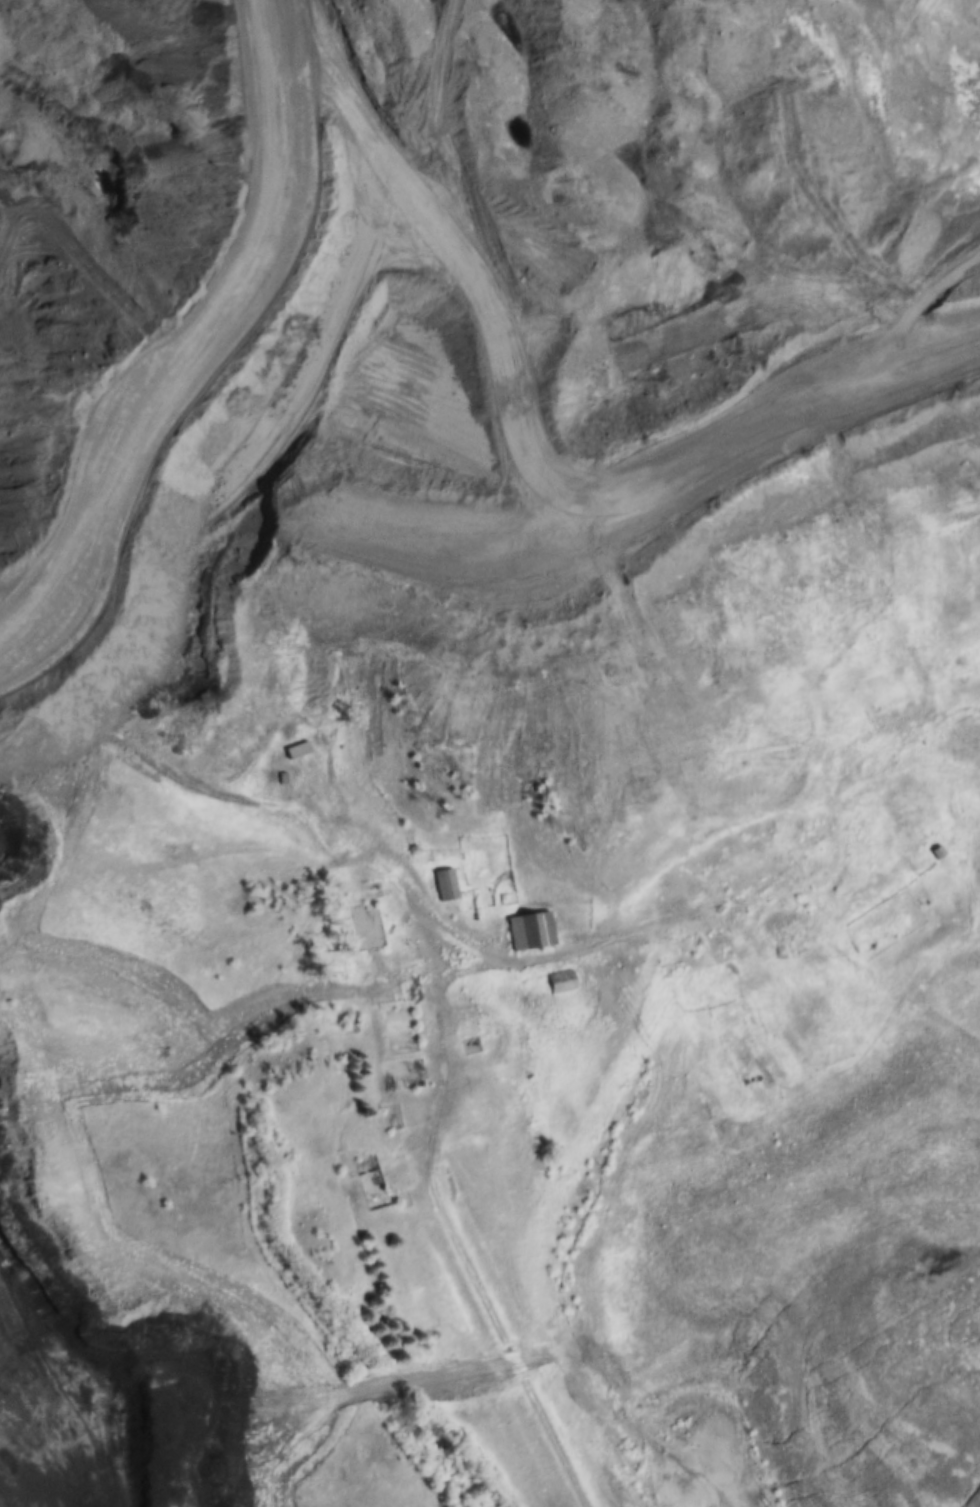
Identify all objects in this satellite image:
building: (299, 750)
building: (449, 884)
road: (614, 928)
building: (535, 930)
building: (564, 981)
road: (839, 1013)
road: (452, 1226)

